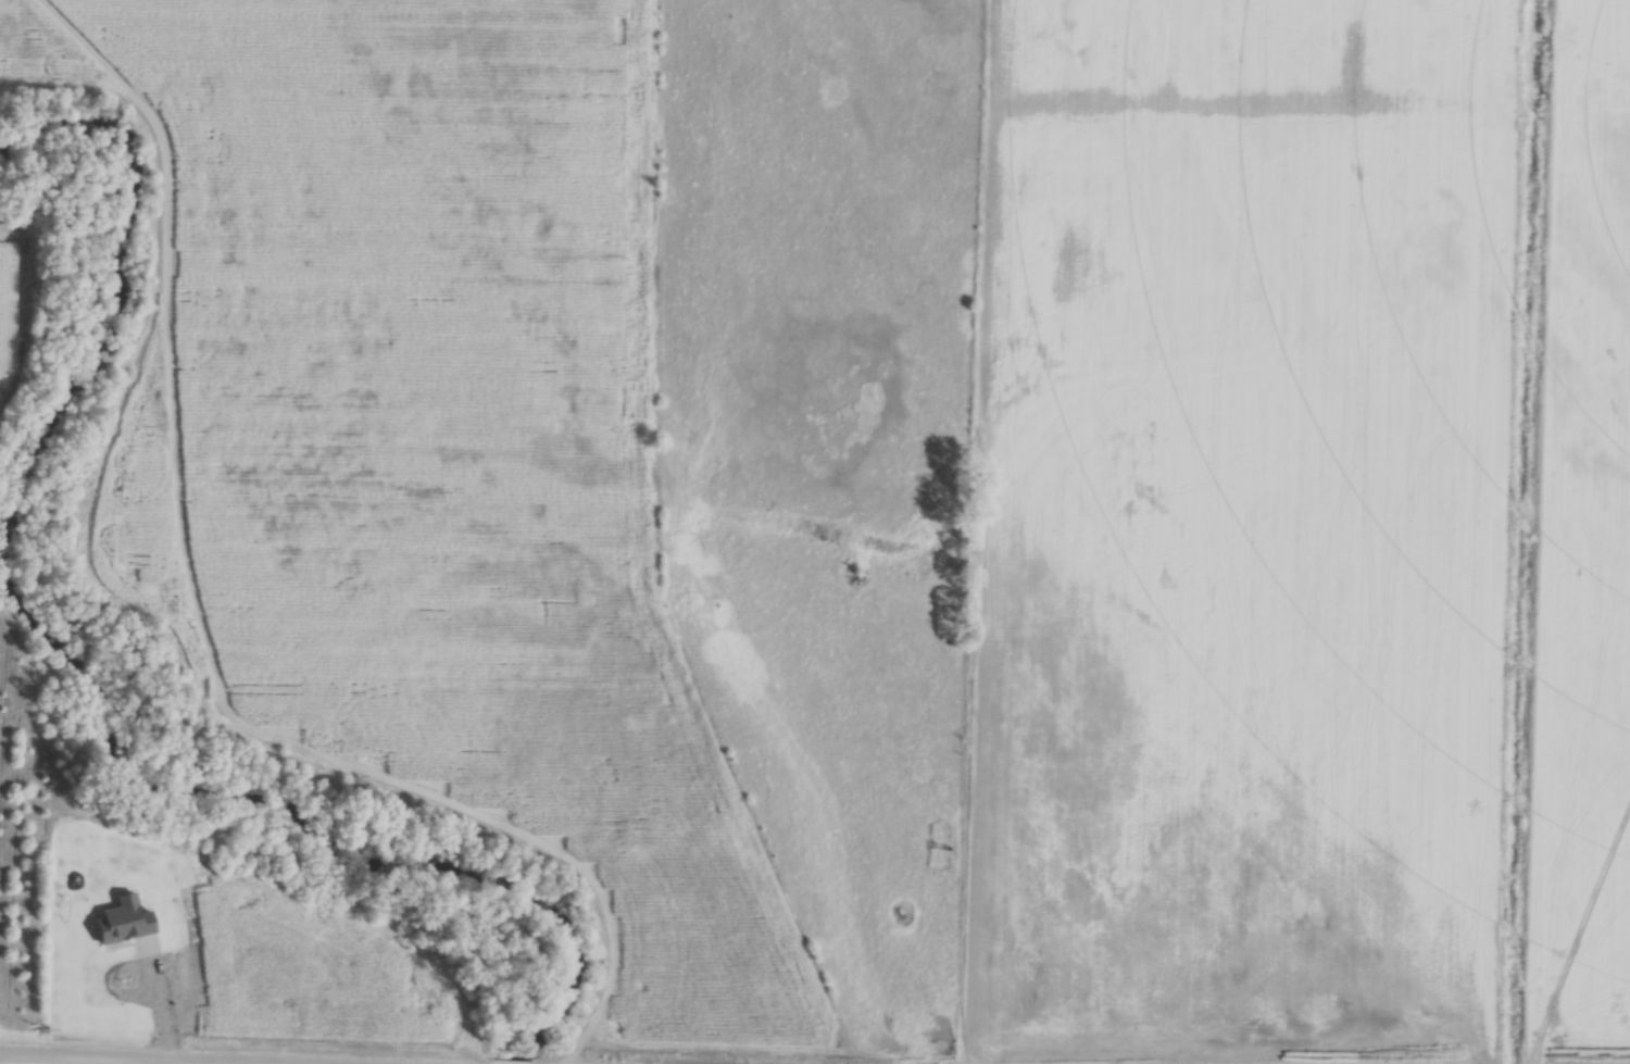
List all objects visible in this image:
road: (170, 1057)

